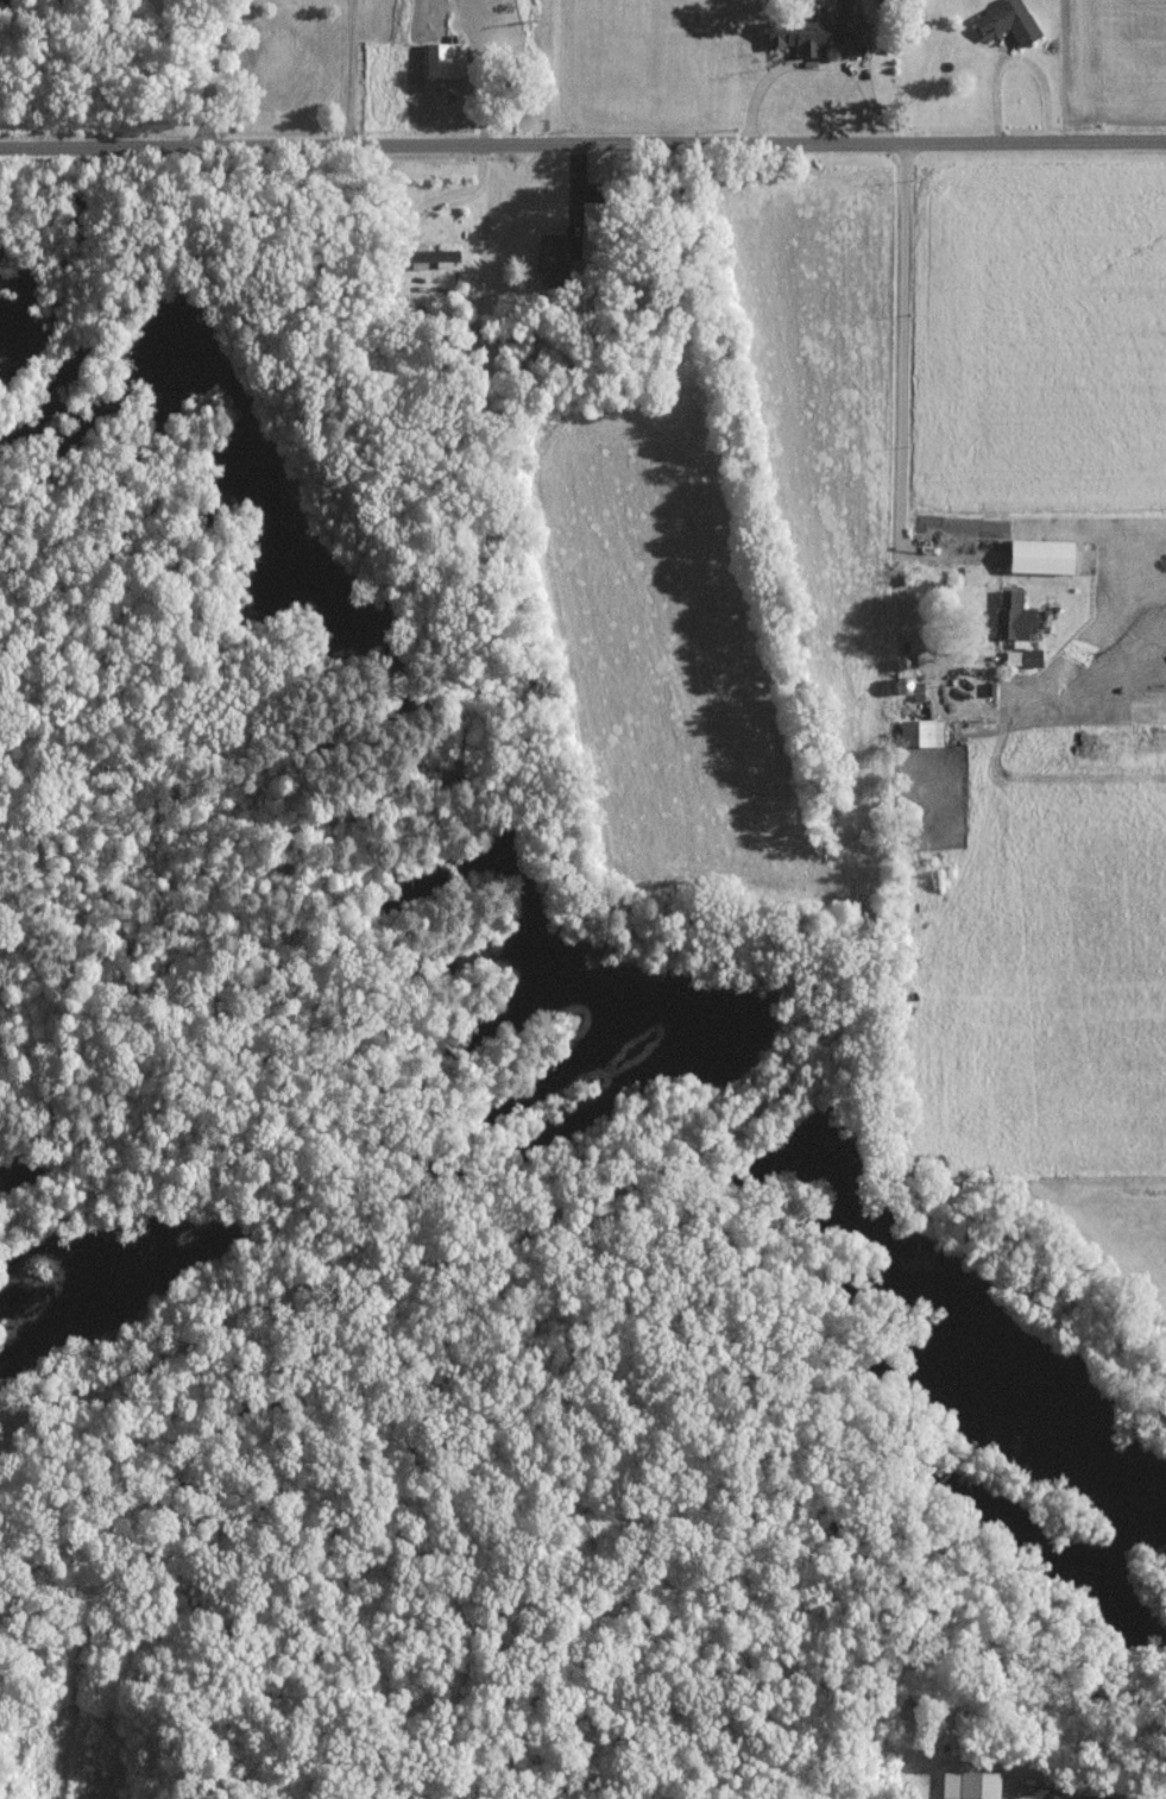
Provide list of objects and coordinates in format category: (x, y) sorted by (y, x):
building: (1004, 21)
building: (807, 33)
building: (442, 58)
road: (817, 69)
road: (216, 70)
road: (352, 70)
road: (582, 141)
building: (430, 257)
building: (547, 258)
road: (902, 409)
building: (1038, 556)
building: (1011, 617)
building: (920, 732)
road: (194, 1379)
road: (0, 1467)
building: (969, 1785)
road: (1129, 1792)
road: (1058, 1798)

